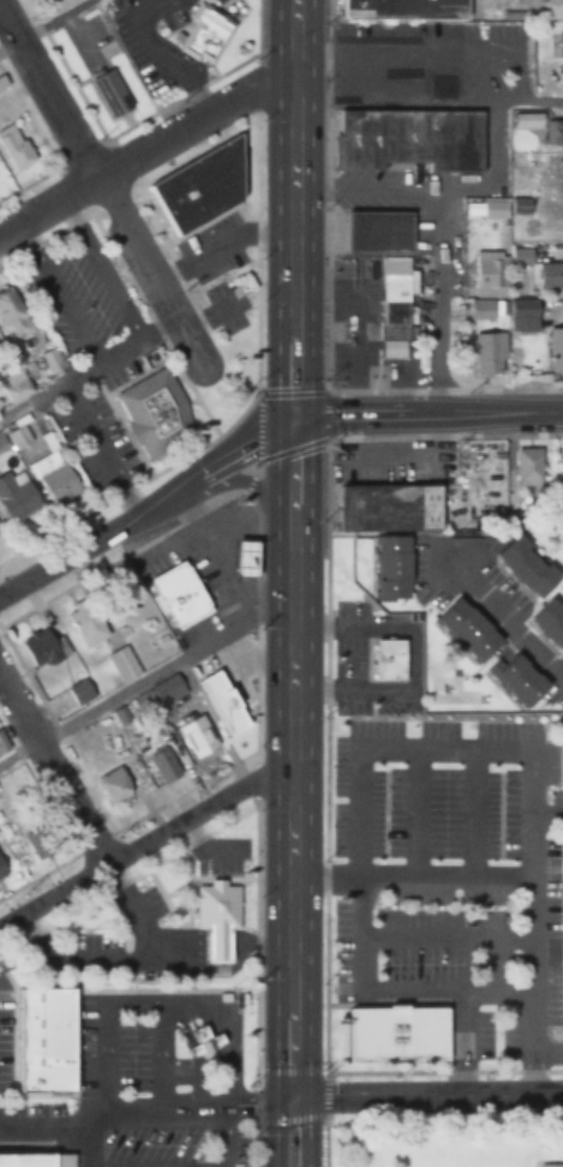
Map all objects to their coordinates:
building: (48, 0)
building: (553, 7)
building: (405, 8)
road: (41, 24)
road: (257, 25)
building: (205, 31)
building: (559, 42)
road: (444, 46)
road: (154, 56)
parking lot: (431, 60)
road: (257, 82)
building: (1, 83)
road: (77, 83)
building: (109, 89)
road: (176, 94)
road: (391, 94)
building: (553, 133)
building: (409, 137)
road: (149, 144)
building: (13, 146)
road: (193, 150)
road: (120, 164)
building: (556, 175)
road: (101, 184)
building: (198, 184)
road: (432, 192)
road: (327, 193)
road: (108, 197)
building: (495, 207)
road: (291, 208)
road: (151, 222)
building: (379, 231)
road: (43, 234)
road: (218, 244)
road: (257, 252)
building: (491, 274)
building: (551, 276)
road: (184, 292)
building: (395, 300)
road: (435, 304)
building: (481, 309)
building: (523, 310)
building: (12, 315)
road: (206, 316)
road: (152, 321)
building: (556, 349)
building: (489, 353)
building: (50, 360)
road: (86, 367)
building: (13, 385)
road: (516, 387)
road: (371, 388)
road: (443, 388)
road: (291, 389)
building: (152, 409)
road: (325, 413)
road: (426, 415)
traffic signals: (291, 418)
road: (257, 425)
road: (509, 433)
road: (373, 435)
road: (438, 435)
road: (291, 448)
building: (527, 463)
building: (559, 465)
building: (54, 473)
road: (133, 481)
road: (145, 504)
building: (395, 508)
gas station: (245, 557)
building: (246, 558)
building: (529, 563)
building: (403, 571)
building: (178, 596)
building: (89, 620)
building: (550, 620)
road: (505, 624)
building: (469, 630)
building: (38, 646)
building: (238, 648)
building: (397, 658)
building: (120, 659)
building: (522, 680)
building: (167, 684)
building: (78, 689)
road: (82, 718)
building: (194, 734)
building: (2, 749)
building: (162, 764)
road: (50, 773)
building: (115, 782)
road: (288, 791)
building: (41, 837)
road: (140, 842)
building: (562, 863)
building: (2, 866)
building: (227, 915)
building: (396, 1033)
building: (40, 1040)
building: (200, 1043)
road: (288, 1069)
road: (425, 1094)
road: (309, 1115)
road: (324, 1139)
park: (447, 1142)
building: (35, 1160)
building: (549, 1166)

